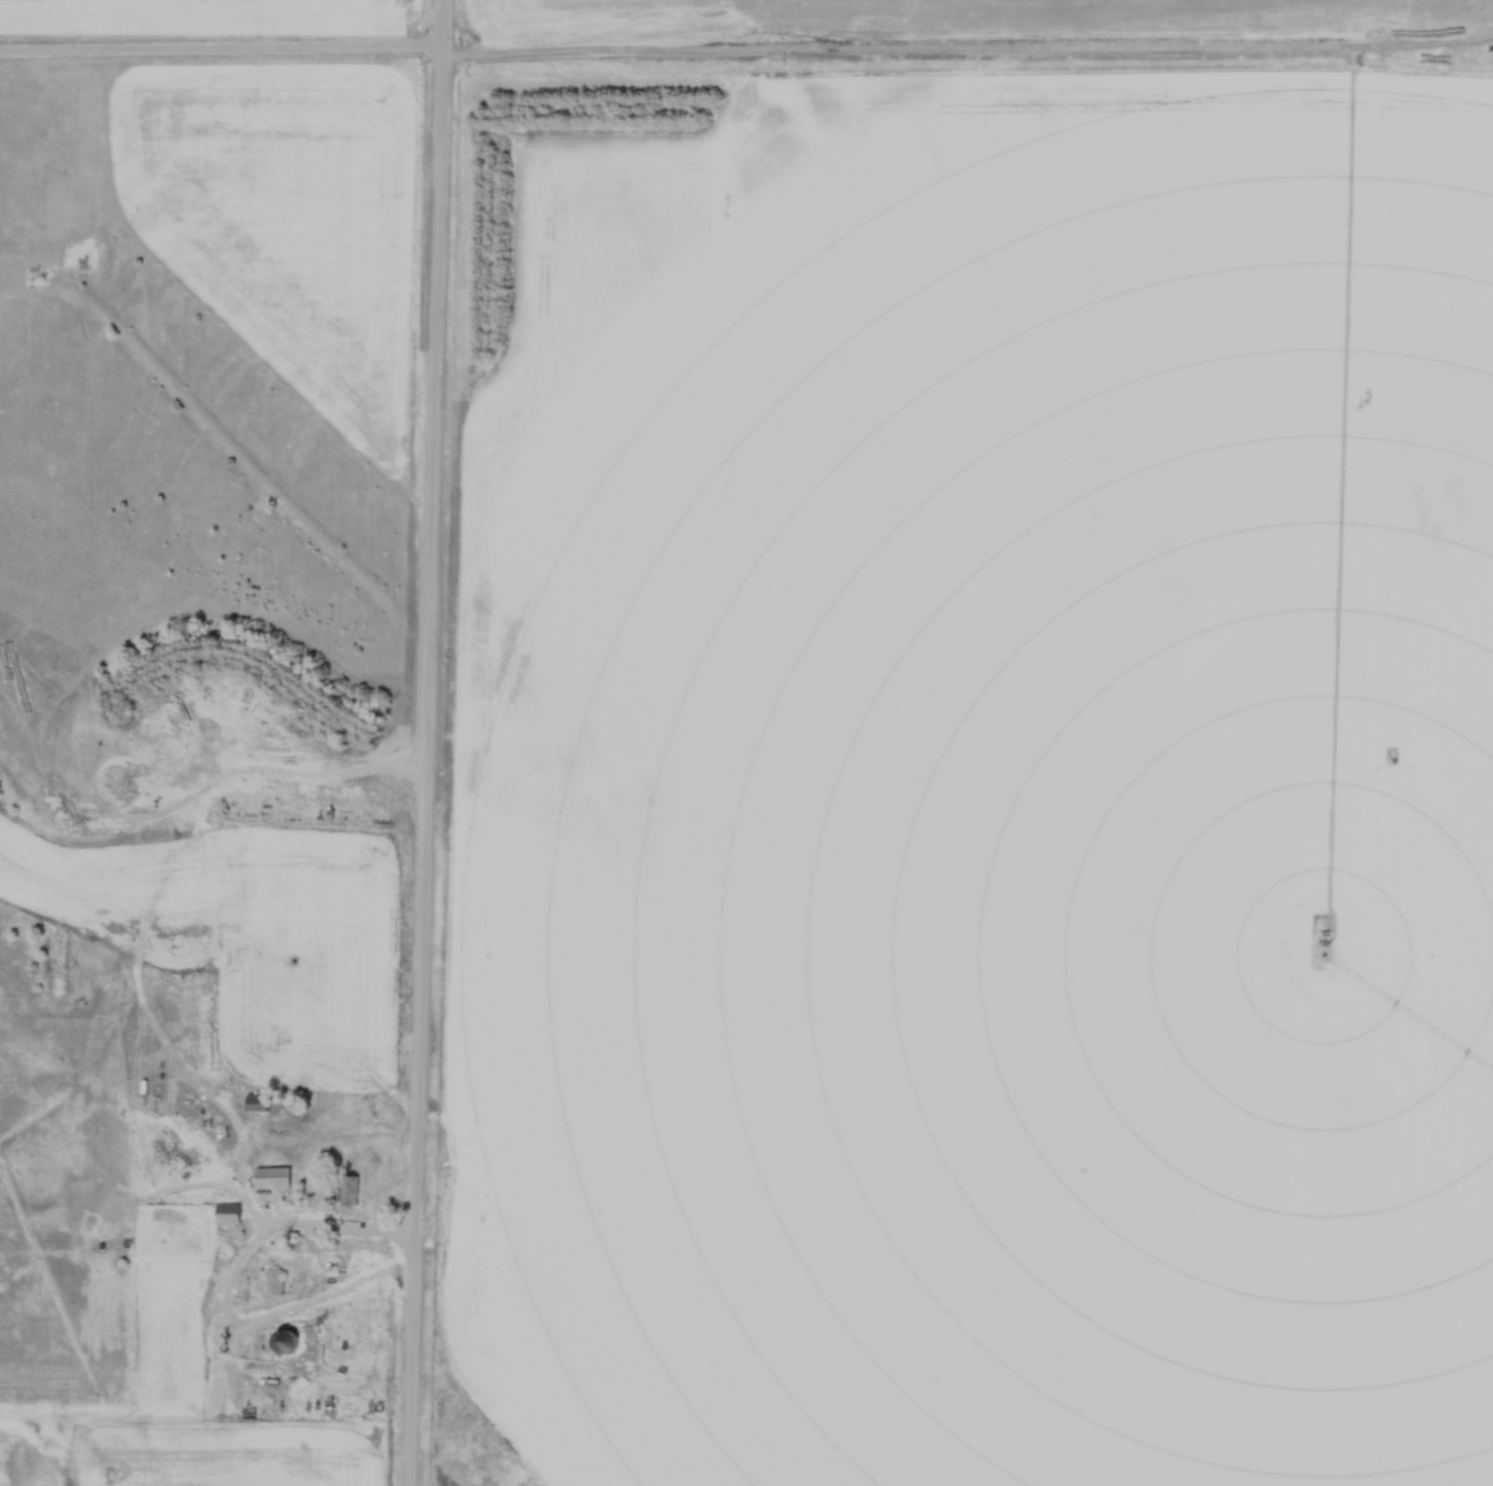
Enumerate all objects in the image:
road: (746, 49)
road: (426, 742)
road: (147, 986)
building: (258, 1103)
building: (106, 1126)
building: (273, 1179)
building: (106, 1188)
building: (348, 1191)
building: (228, 1214)
building: (274, 1281)
building: (287, 1340)

